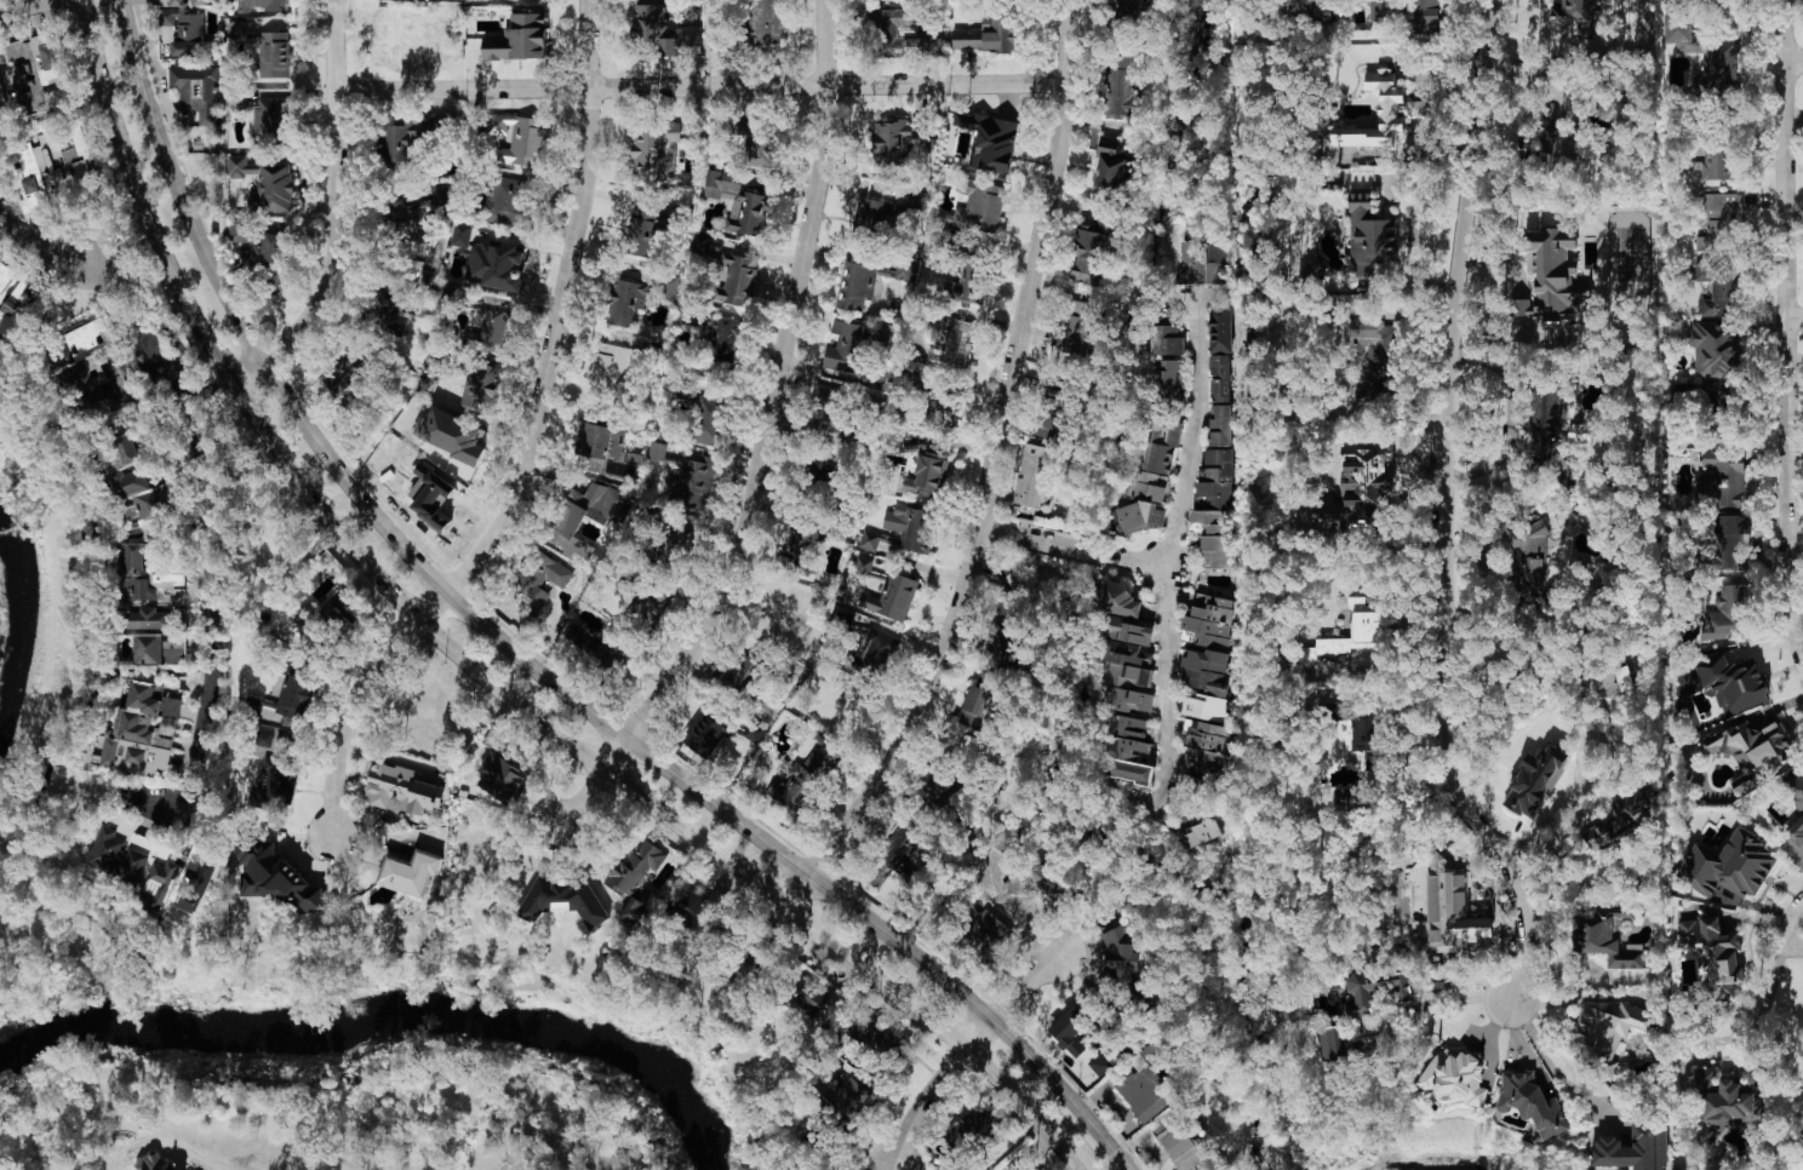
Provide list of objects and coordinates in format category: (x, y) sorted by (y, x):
building: (407, 0)
building: (490, 0)
building: (174, 2)
building: (200, 2)
building: (262, 5)
road: (28, 6)
building: (1132, 8)
building: (1322, 17)
building: (1408, 17)
building: (1569, 21)
building: (766, 22)
building: (236, 29)
building: (664, 30)
building: (990, 33)
building: (188, 35)
building: (402, 39)
building: (517, 39)
building: (273, 55)
building: (1706, 56)
road: (1795, 59)
building: (1120, 85)
road: (704, 87)
building: (196, 91)
building: (1555, 102)
building: (241, 105)
building: (1380, 114)
building: (270, 119)
building: (895, 140)
building: (990, 140)
building: (523, 142)
building: (763, 150)
building: (656, 154)
building: (1716, 160)
building: (1114, 166)
building: (45, 168)
building: (265, 184)
road: (337, 194)
building: (917, 201)
building: (737, 202)
building: (511, 203)
building: (973, 211)
building: (411, 212)
building: (878, 216)
building: (1721, 225)
building: (643, 233)
building: (462, 235)
building: (1372, 241)
building: (259, 242)
building: (700, 242)
road: (41, 245)
building: (1092, 252)
building: (1190, 263)
building: (1220, 263)
building: (494, 265)
building: (1313, 271)
building: (428, 279)
building: (971, 279)
building: (737, 282)
building: (1552, 282)
building: (855, 288)
building: (1719, 289)
road: (1198, 291)
building: (636, 298)
building: (19, 300)
building: (384, 310)
road: (1796, 316)
road: (1790, 327)
building: (488, 329)
building: (1221, 329)
building: (1074, 332)
building: (722, 340)
building: (1167, 340)
building: (960, 343)
building: (846, 346)
building: (1376, 350)
building: (1715, 350)
building: (347, 372)
building: (613, 373)
building: (81, 375)
building: (1220, 379)
building: (1168, 384)
building: (479, 388)
building: (1362, 396)
building: (1054, 409)
building: (941, 412)
building: (597, 419)
building: (706, 420)
building: (830, 420)
building: (1220, 425)
building: (1545, 428)
road: (767, 443)
road: (531, 446)
building: (1162, 446)
building: (657, 451)
building: (824, 470)
building: (126, 472)
building: (926, 474)
building: (1031, 476)
road: (994, 477)
building: (1723, 477)
building: (692, 481)
road: (204, 500)
building: (155, 503)
building: (1144, 505)
building: (1215, 509)
road: (1448, 514)
building: (568, 521)
building: (910, 527)
road: (99, 539)
building: (869, 541)
building: (1730, 541)
building: (1532, 543)
building: (800, 545)
road: (1081, 545)
road: (1178, 550)
building: (864, 566)
building: (133, 573)
building: (1532, 574)
building: (543, 581)
road: (450, 596)
building: (1117, 600)
river: (24, 613)
building: (1727, 614)
building: (327, 618)
building: (145, 619)
building: (1210, 621)
building: (1129, 632)
building: (1353, 632)
building: (1001, 633)
building: (148, 649)
building: (614, 654)
building: (1128, 666)
road: (471, 667)
building: (1204, 671)
building: (742, 672)
building: (1733, 681)
building: (1608, 684)
building: (296, 693)
building: (1131, 700)
building: (977, 707)
building: (1206, 707)
building: (147, 728)
building: (706, 733)
building: (1368, 735)
building: (264, 738)
building: (492, 738)
building: (1204, 749)
building: (1128, 750)
building: (1751, 750)
building: (271, 773)
road: (1580, 775)
building: (502, 779)
building: (802, 779)
building: (1535, 780)
road: (199, 782)
building: (941, 782)
building: (290, 786)
building: (1344, 796)
building: (1796, 799)
road: (1156, 804)
building: (1620, 821)
building: (1200, 833)
building: (108, 850)
building: (901, 850)
building: (1000, 860)
building: (132, 870)
building: (1728, 870)
building: (410, 873)
building: (636, 879)
building: (277, 881)
building: (196, 885)
building: (159, 887)
building: (583, 901)
building: (1453, 914)
road: (1799, 919)
building: (991, 931)
building: (1605, 937)
road: (1802, 937)
building: (1715, 954)
building: (1123, 964)
building: (808, 996)
building: (1360, 997)
road: (1449, 1002)
road: (1763, 1013)
river: (387, 1017)
building: (1075, 1031)
building: (1608, 1033)
building: (875, 1039)
building: (1332, 1044)
road: (966, 1051)
road: (1026, 1060)
building: (1099, 1065)
road: (1552, 1066)
building: (1455, 1077)
building: (1145, 1085)
building: (1728, 1099)
building: (1532, 1103)
building: (847, 1105)
building: (972, 1131)
road: (1089, 1131)
building: (1177, 1140)
building: (1633, 1149)
river: (1441, 1168)

